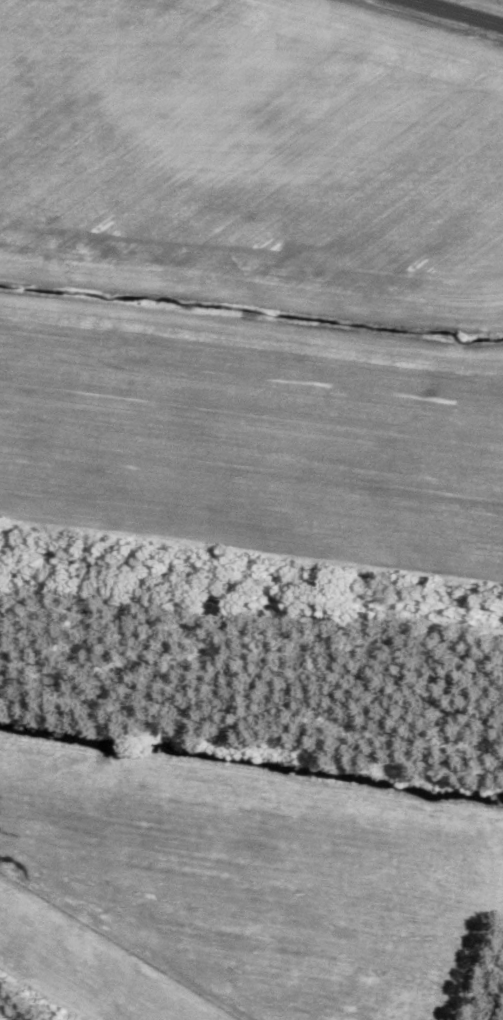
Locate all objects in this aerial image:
road: (464, 11)
railway: (251, 578)

